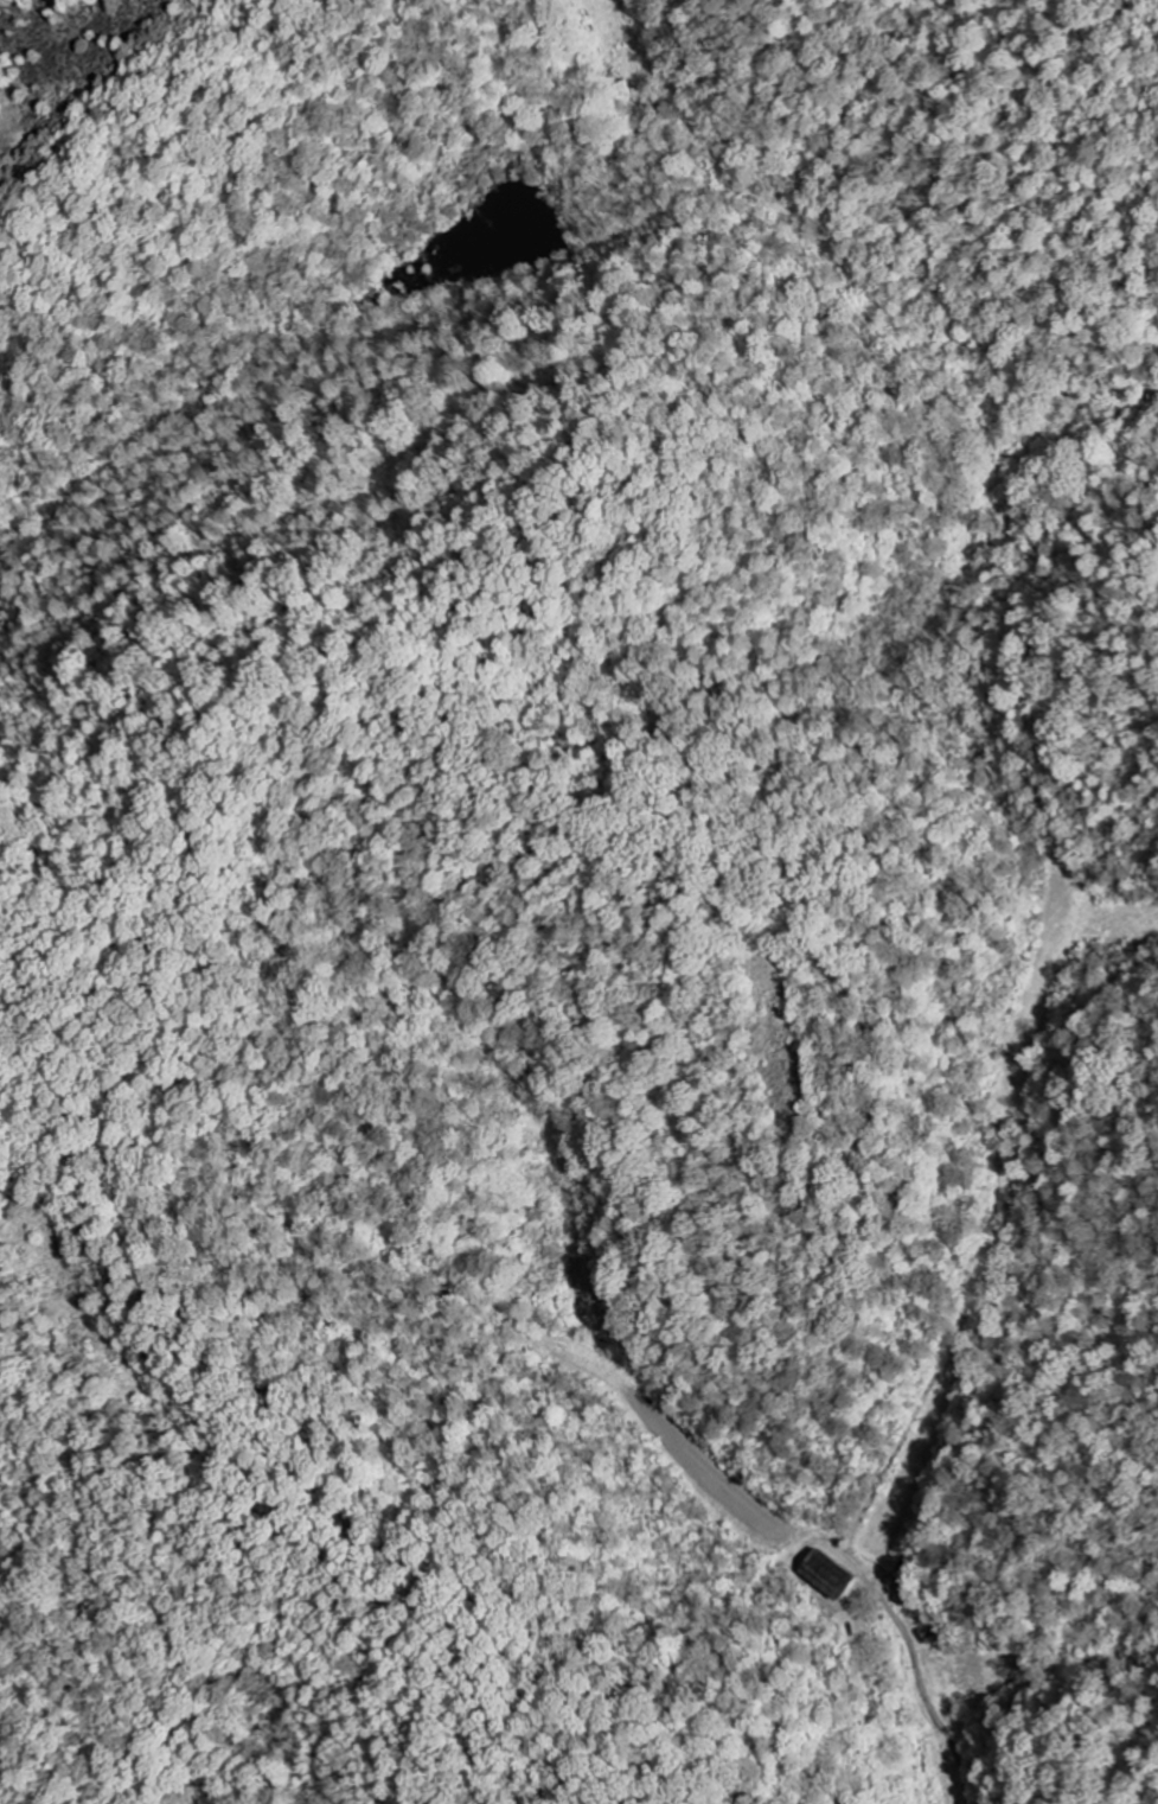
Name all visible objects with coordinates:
road: (1029, 362)
road: (1060, 391)
road: (992, 1124)
building: (827, 1575)

